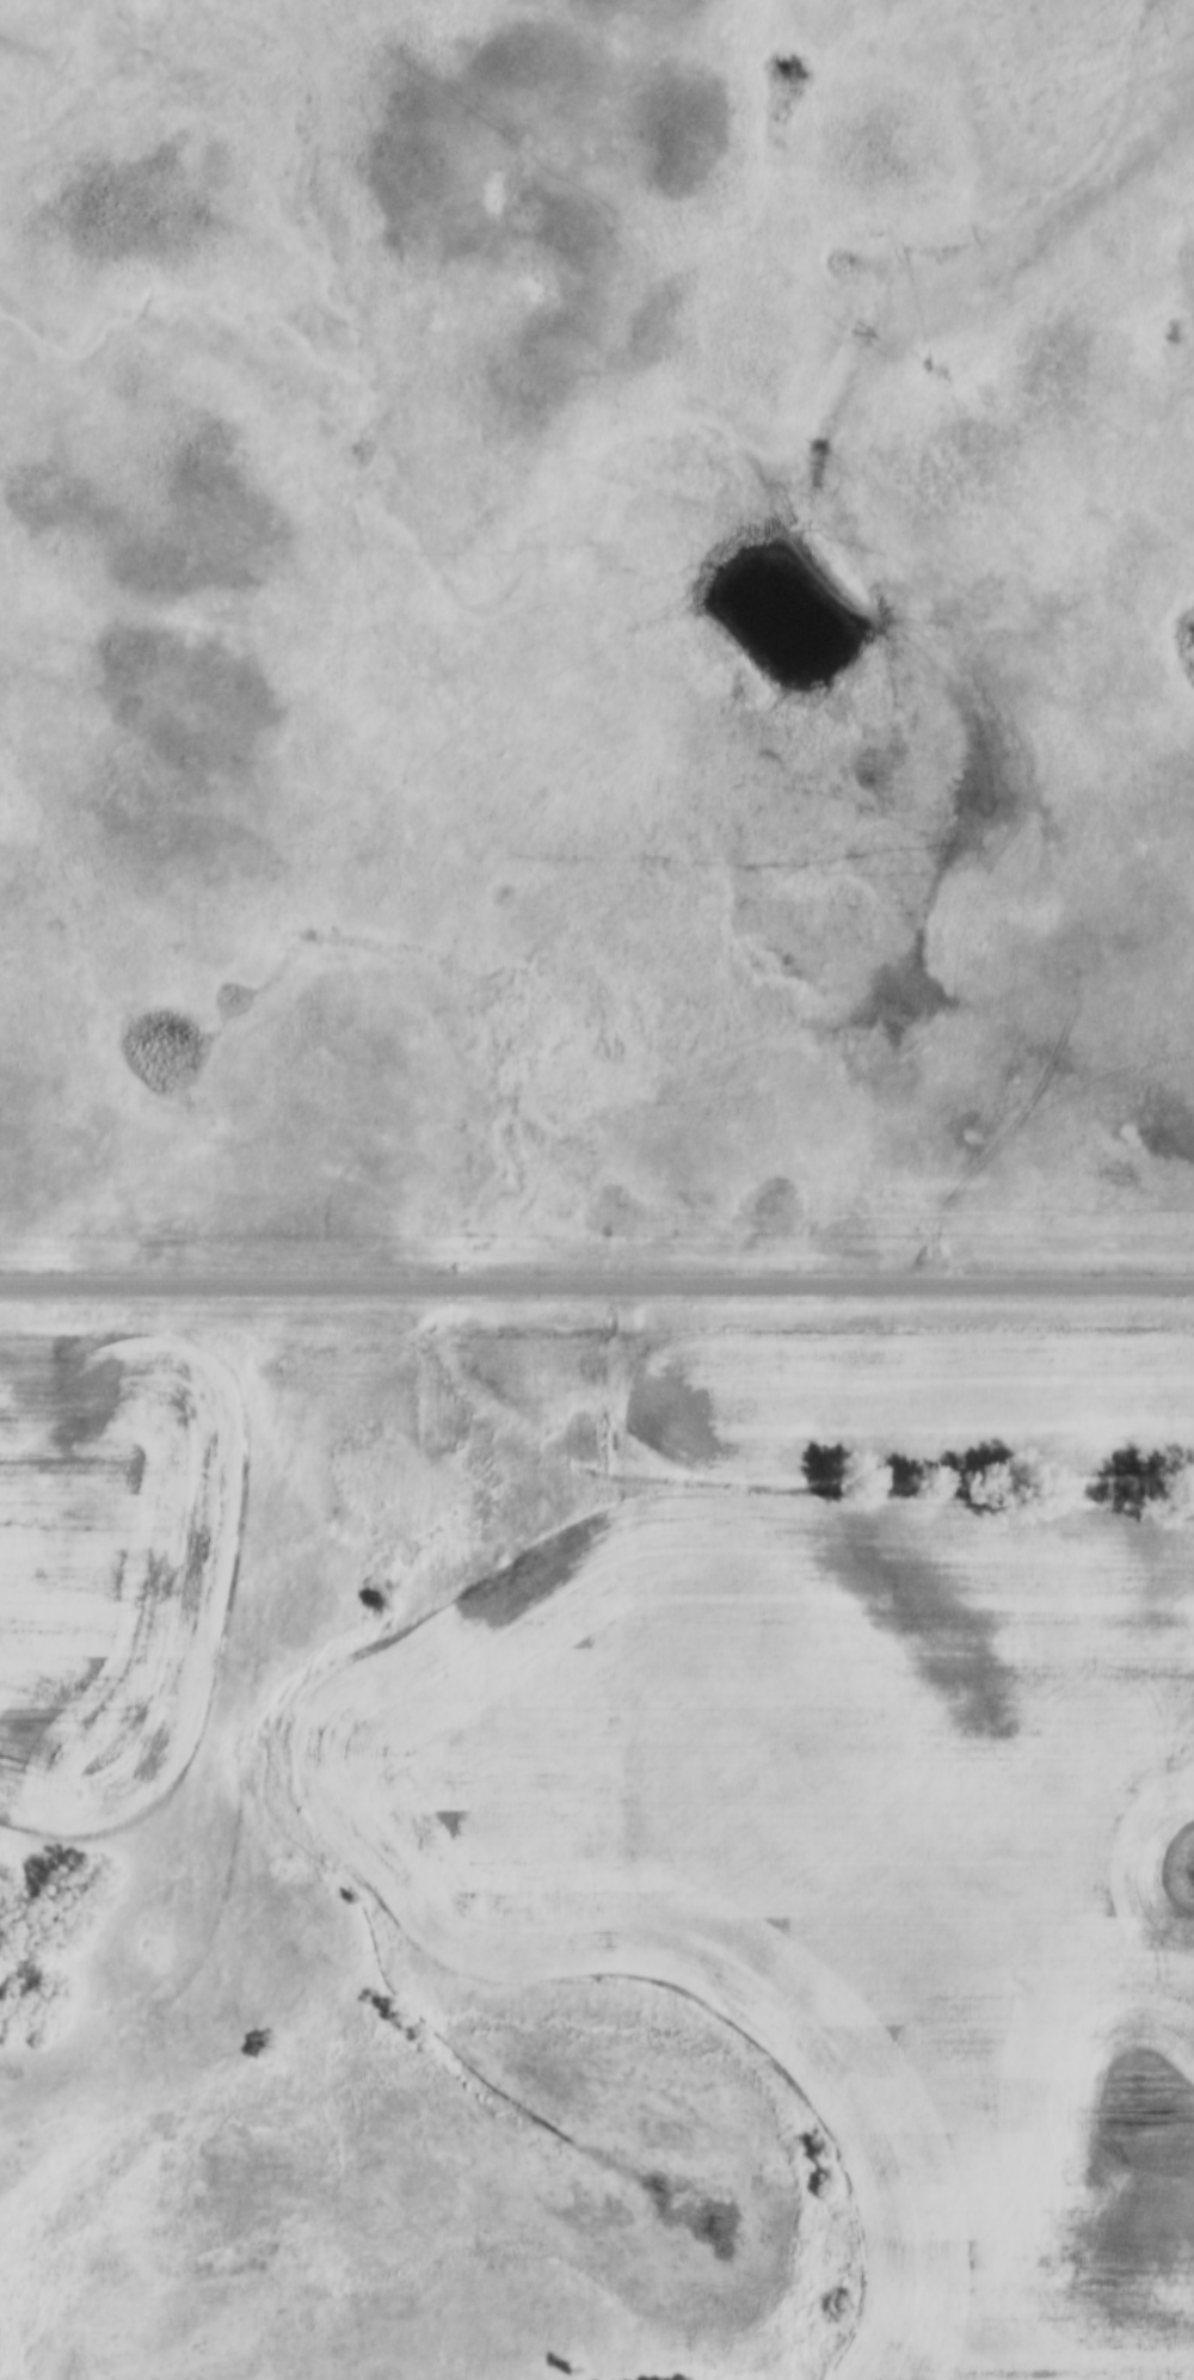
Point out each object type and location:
road: (597, 1289)

